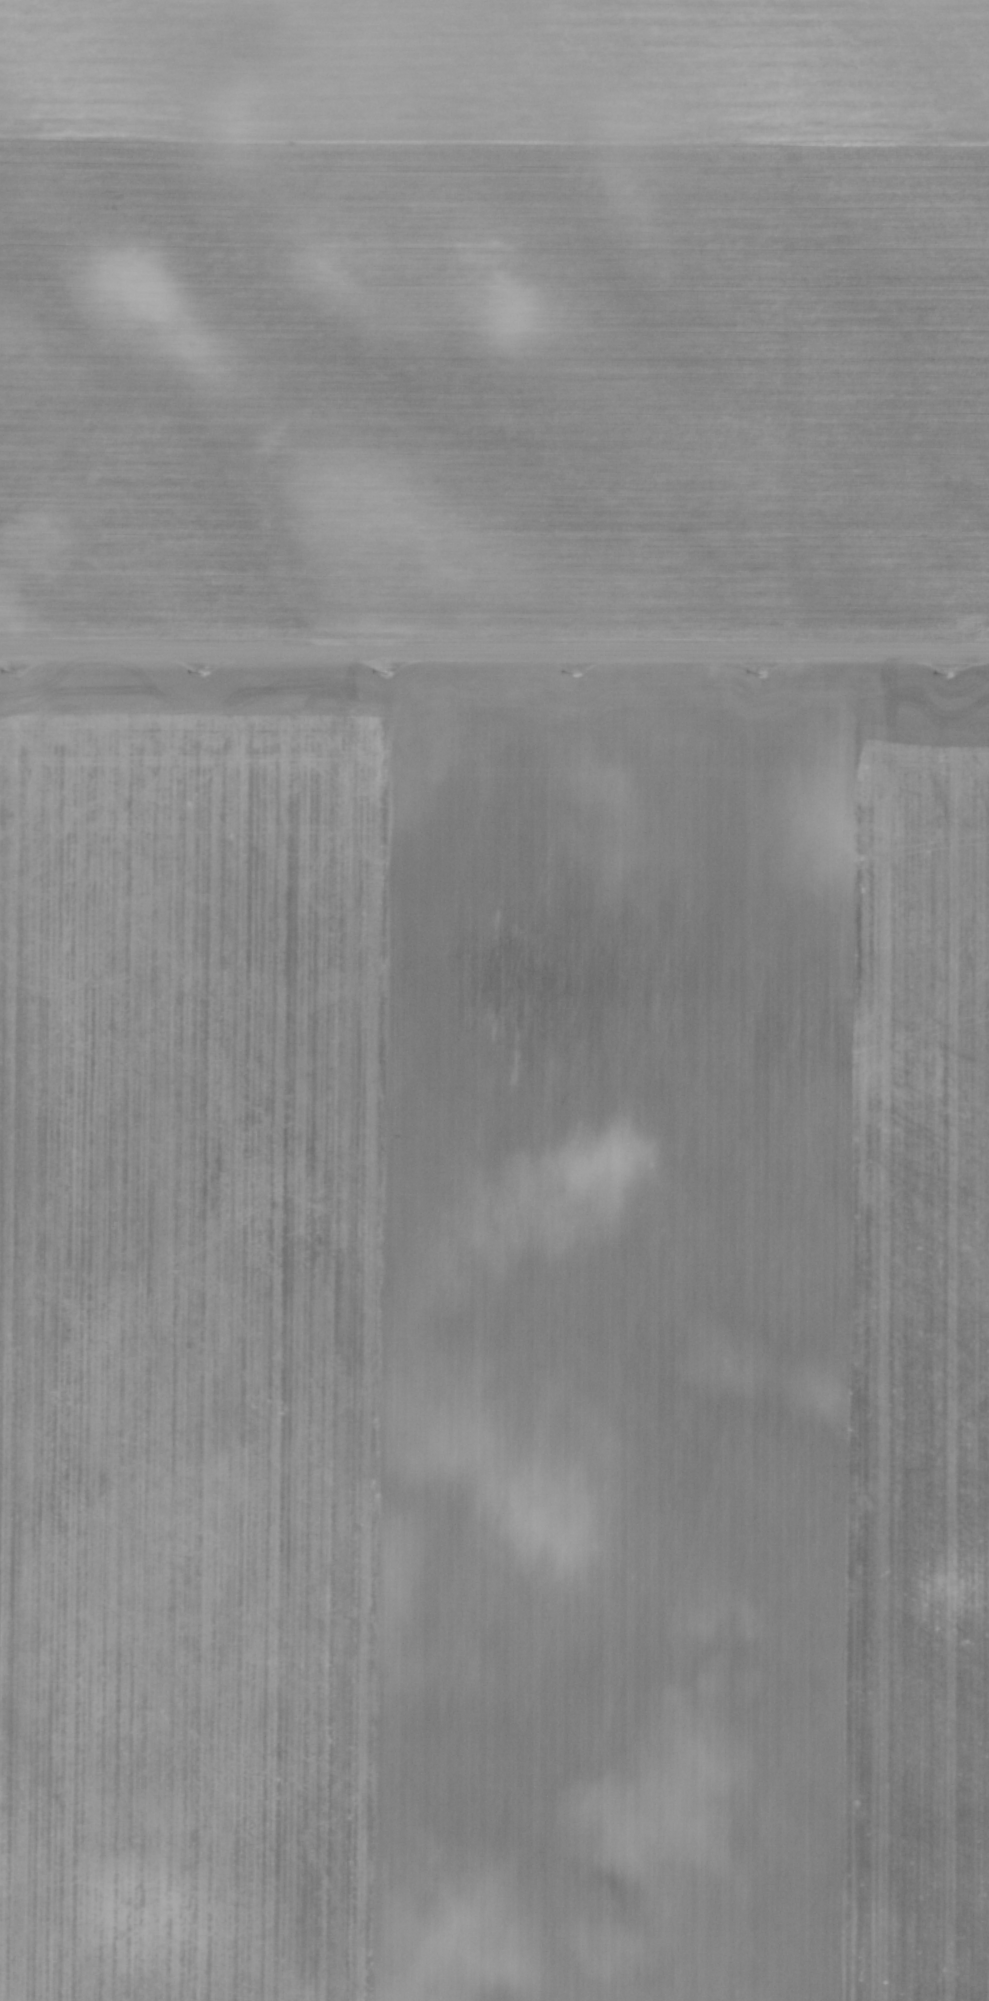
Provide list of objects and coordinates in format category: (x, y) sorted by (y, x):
crop: (494, 315)
road: (494, 655)
crop: (494, 1336)

